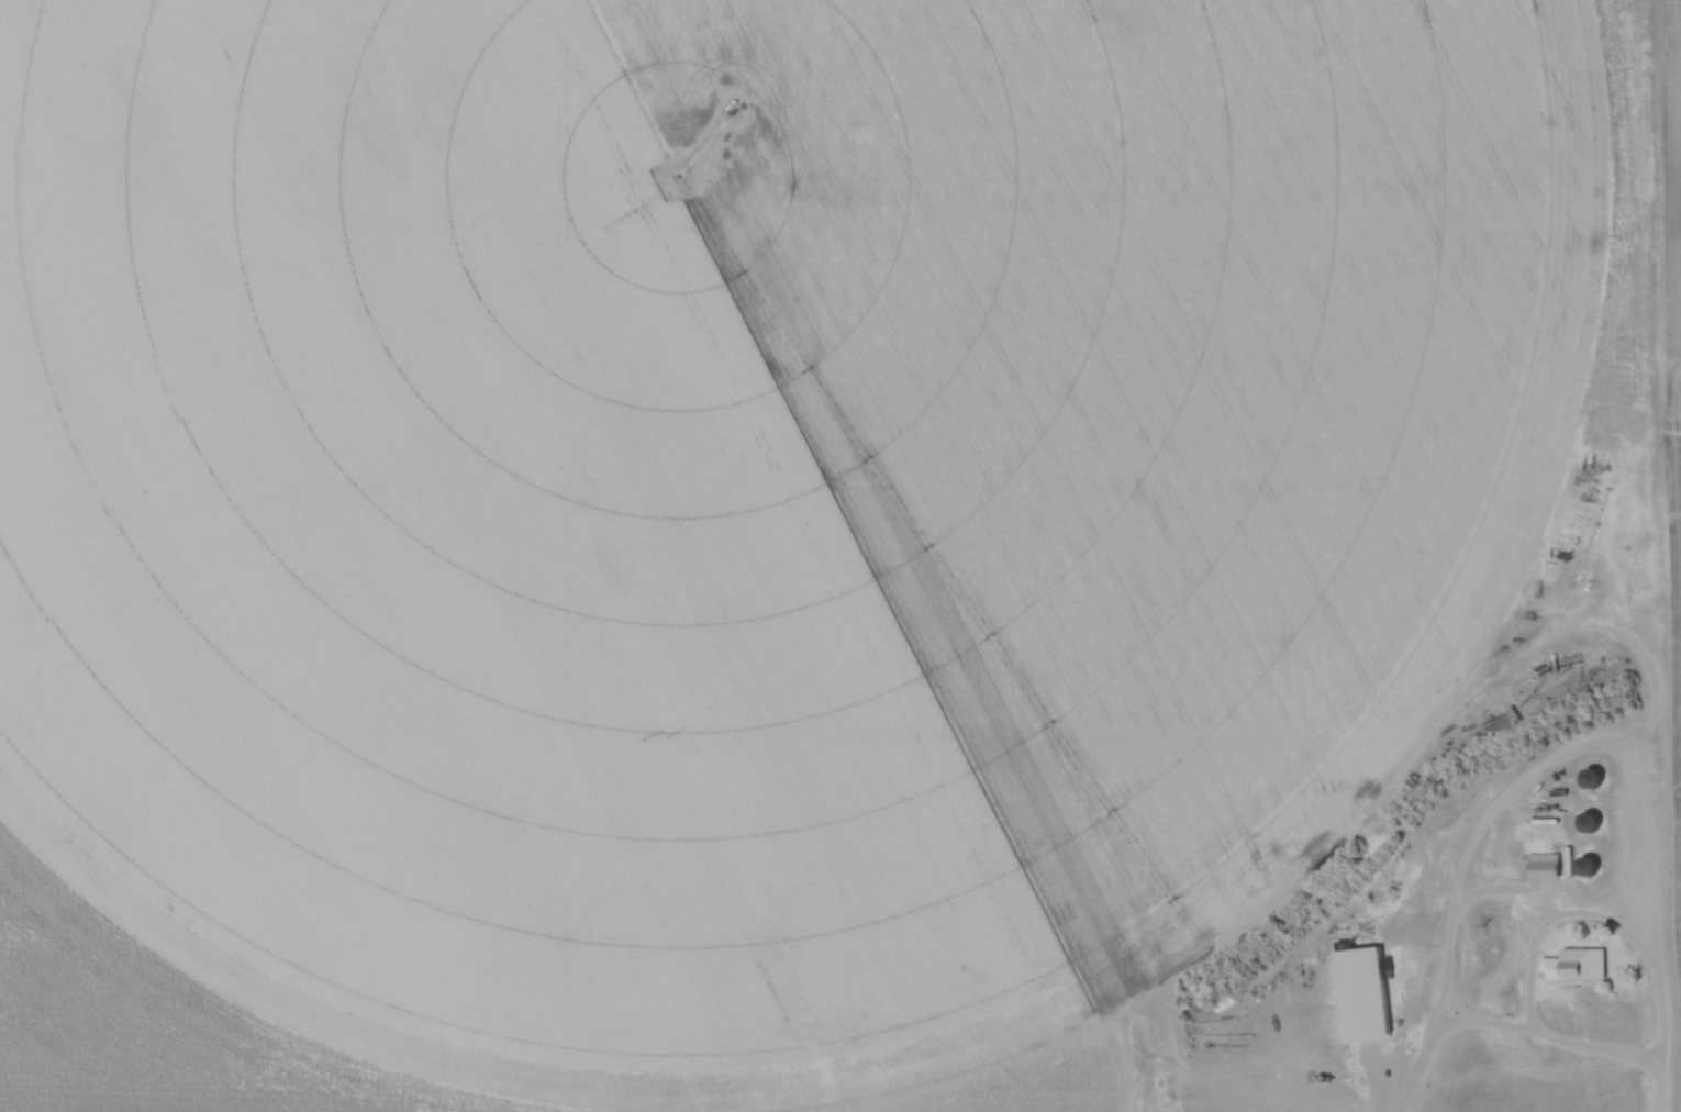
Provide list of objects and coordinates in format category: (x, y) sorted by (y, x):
building: (1588, 779)
building: (1585, 823)
building: (1543, 866)
building: (1580, 964)
road: (1535, 971)
building: (1361, 993)
road: (1662, 1038)

